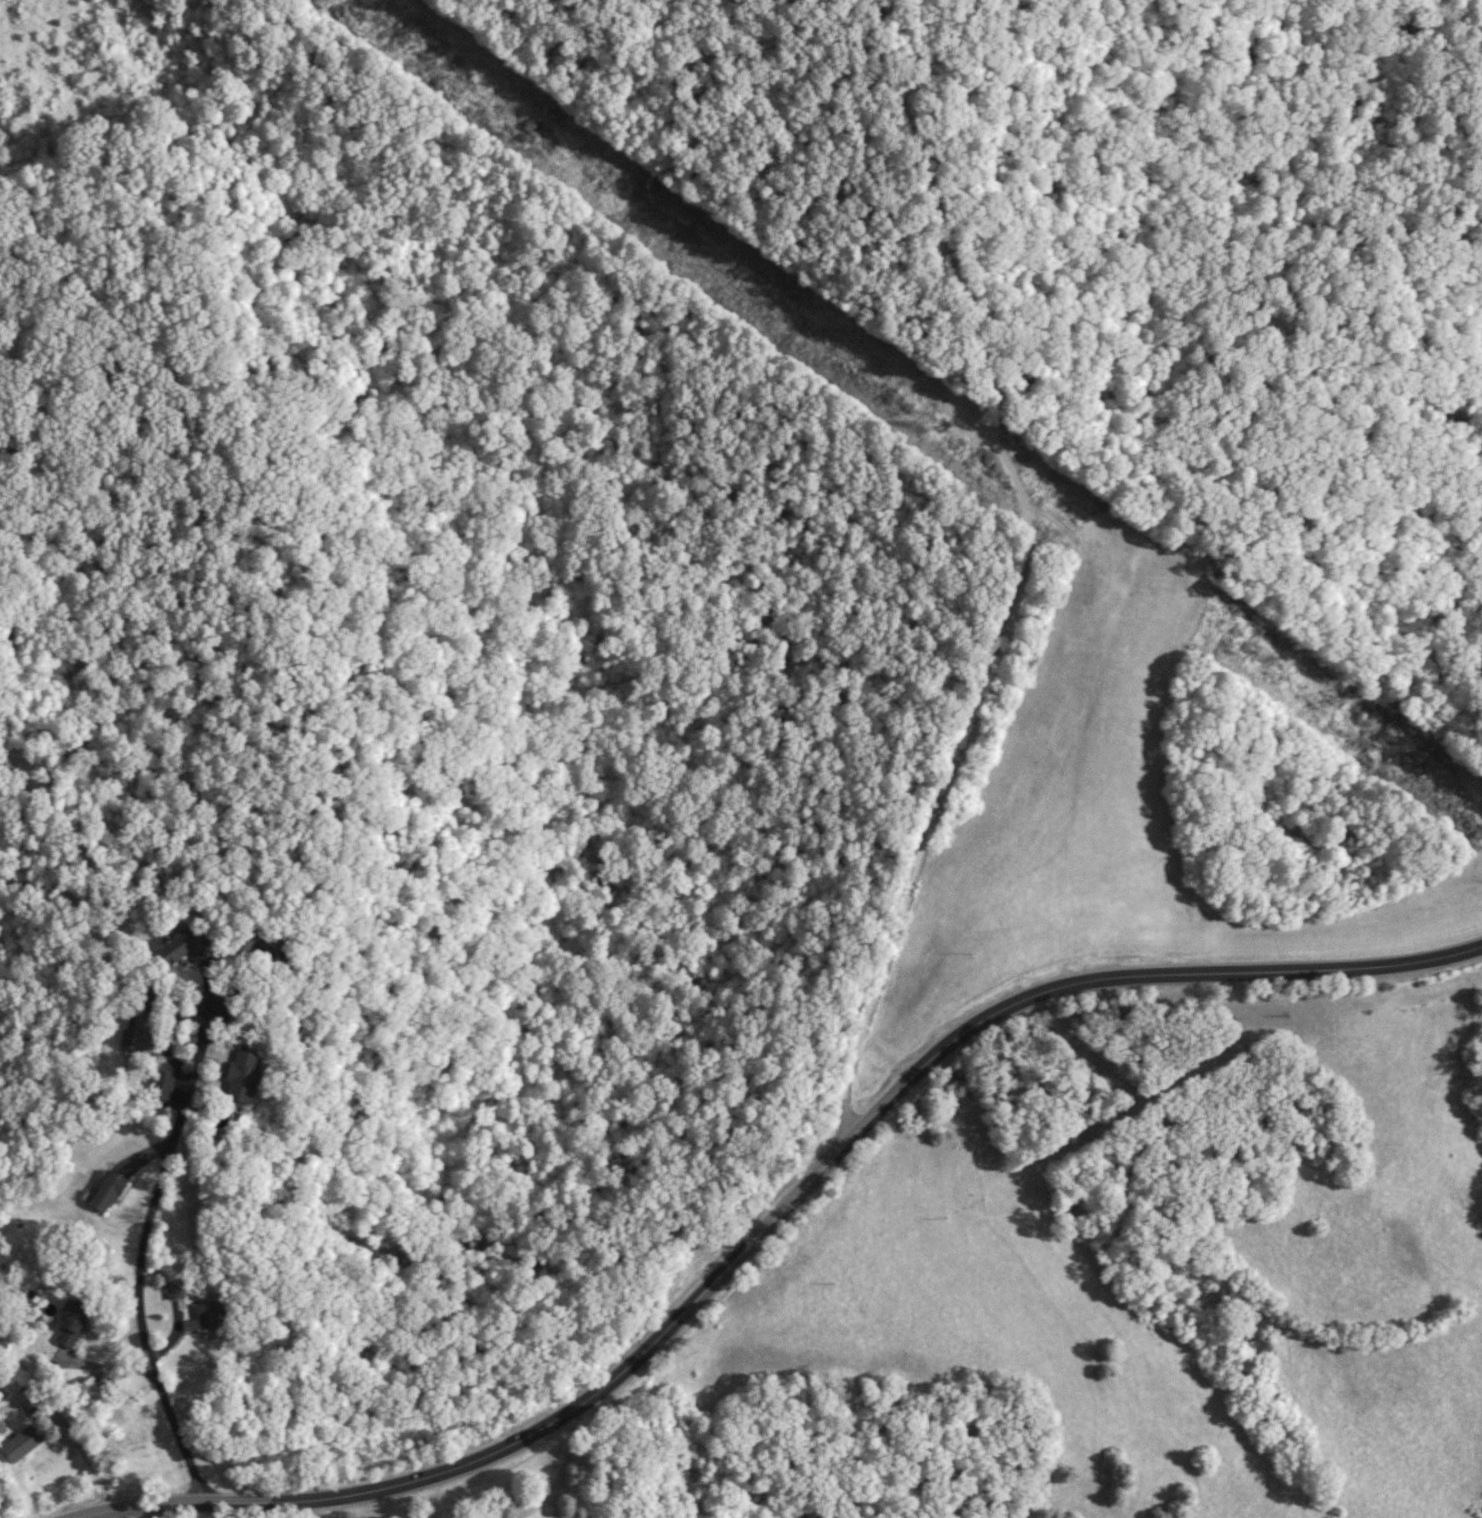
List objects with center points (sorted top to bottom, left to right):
power tower: (945, 429)
road: (1022, 568)
building: (261, 944)
building: (186, 947)
building: (146, 1034)
building: (244, 1076)
building: (163, 1084)
building: (109, 1191)
road: (773, 1217)
road: (142, 1249)
building: (205, 1318)
building: (75, 1323)
building: (1, 1419)
building: (2, 1429)
building: (24, 1435)
road: (83, 1440)
road: (558, 1476)
road: (326, 1510)
road: (329, 1515)

